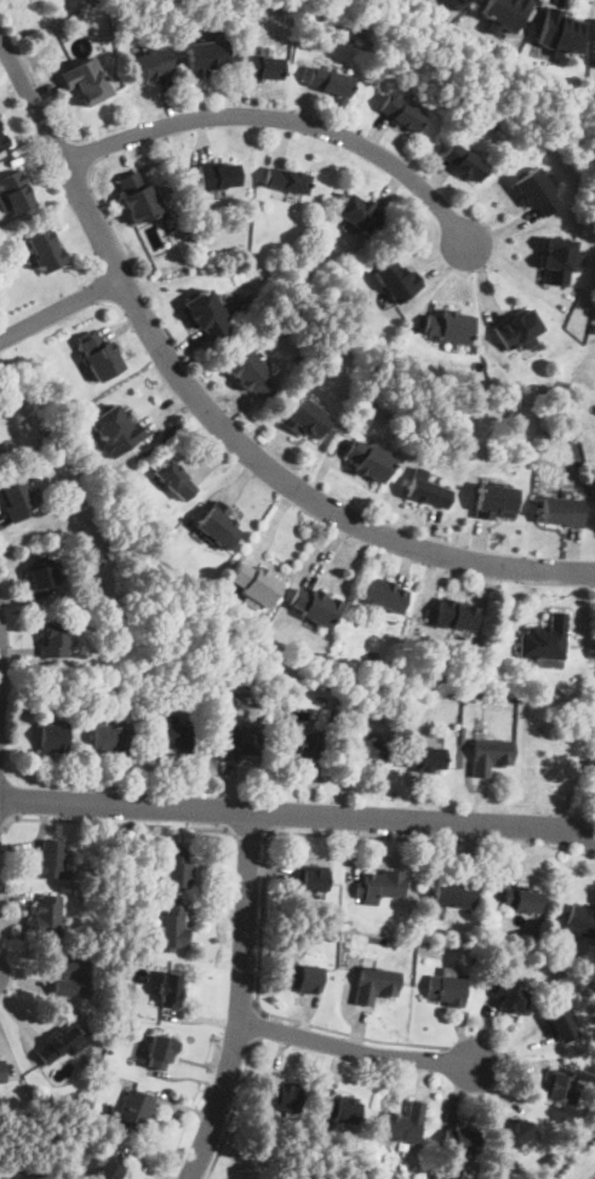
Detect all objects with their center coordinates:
building: (457, 4)
building: (505, 15)
building: (559, 32)
building: (205, 57)
building: (153, 64)
building: (261, 68)
building: (86, 81)
building: (330, 81)
building: (402, 114)
road: (281, 120)
building: (2, 142)
road: (61, 159)
building: (464, 162)
building: (218, 177)
building: (287, 182)
building: (537, 191)
building: (15, 193)
building: (137, 199)
building: (361, 214)
building: (46, 251)
building: (561, 261)
building: (397, 282)
road: (62, 310)
building: (205, 315)
building: (450, 327)
building: (594, 328)
building: (519, 331)
building: (99, 356)
building: (251, 376)
building: (566, 399)
building: (305, 418)
building: (116, 431)
building: (45, 434)
building: (370, 460)
building: (175, 480)
building: (429, 493)
road: (314, 498)
building: (16, 499)
building: (496, 502)
building: (562, 511)
building: (218, 526)
building: (44, 572)
building: (256, 585)
building: (384, 596)
building: (315, 607)
building: (456, 616)
building: (545, 640)
building: (55, 641)
building: (320, 699)
building: (404, 700)
building: (299, 721)
building: (55, 737)
building: (173, 737)
building: (111, 739)
building: (238, 740)
building: (304, 746)
building: (365, 750)
building: (491, 756)
building: (427, 759)
road: (298, 814)
road: (4, 822)
road: (121, 824)
road: (251, 836)
road: (267, 854)
building: (52, 862)
building: (178, 868)
building: (311, 880)
building: (379, 887)
building: (452, 895)
building: (521, 900)
building: (48, 917)
building: (582, 921)
building: (172, 928)
building: (130, 944)
building: (474, 958)
building: (74, 979)
building: (304, 979)
building: (376, 985)
building: (170, 990)
building: (447, 990)
building: (513, 996)
road: (241, 1000)
road: (257, 1025)
building: (561, 1026)
building: (59, 1046)
road: (354, 1051)
building: (160, 1052)
building: (2, 1072)
building: (559, 1088)
building: (282, 1095)
building: (342, 1110)
building: (135, 1111)
road: (234, 1111)
building: (404, 1124)
building: (517, 1133)
building: (460, 1140)
building: (109, 1169)
building: (39, 1171)
building: (435, 1177)

